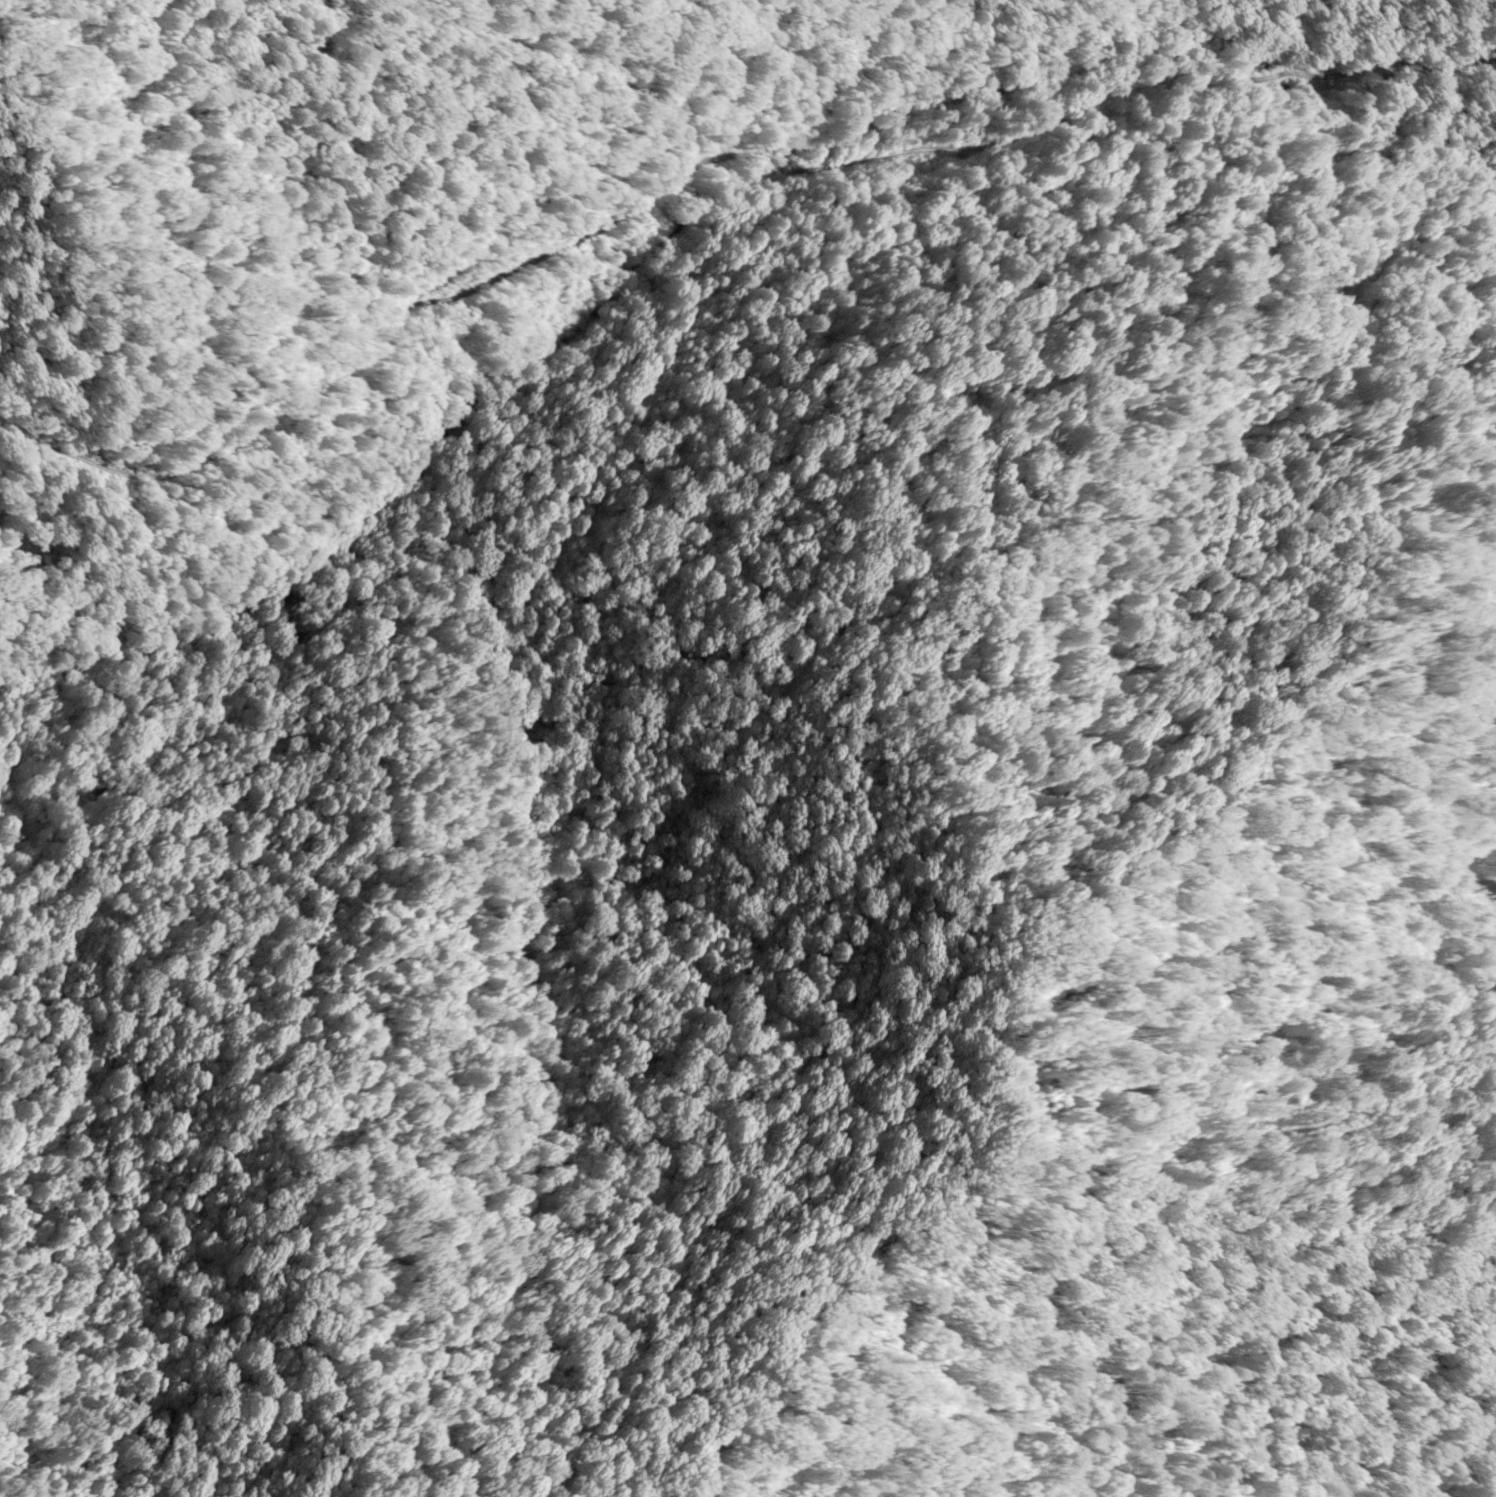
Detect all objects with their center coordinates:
road: (1413, 71)

